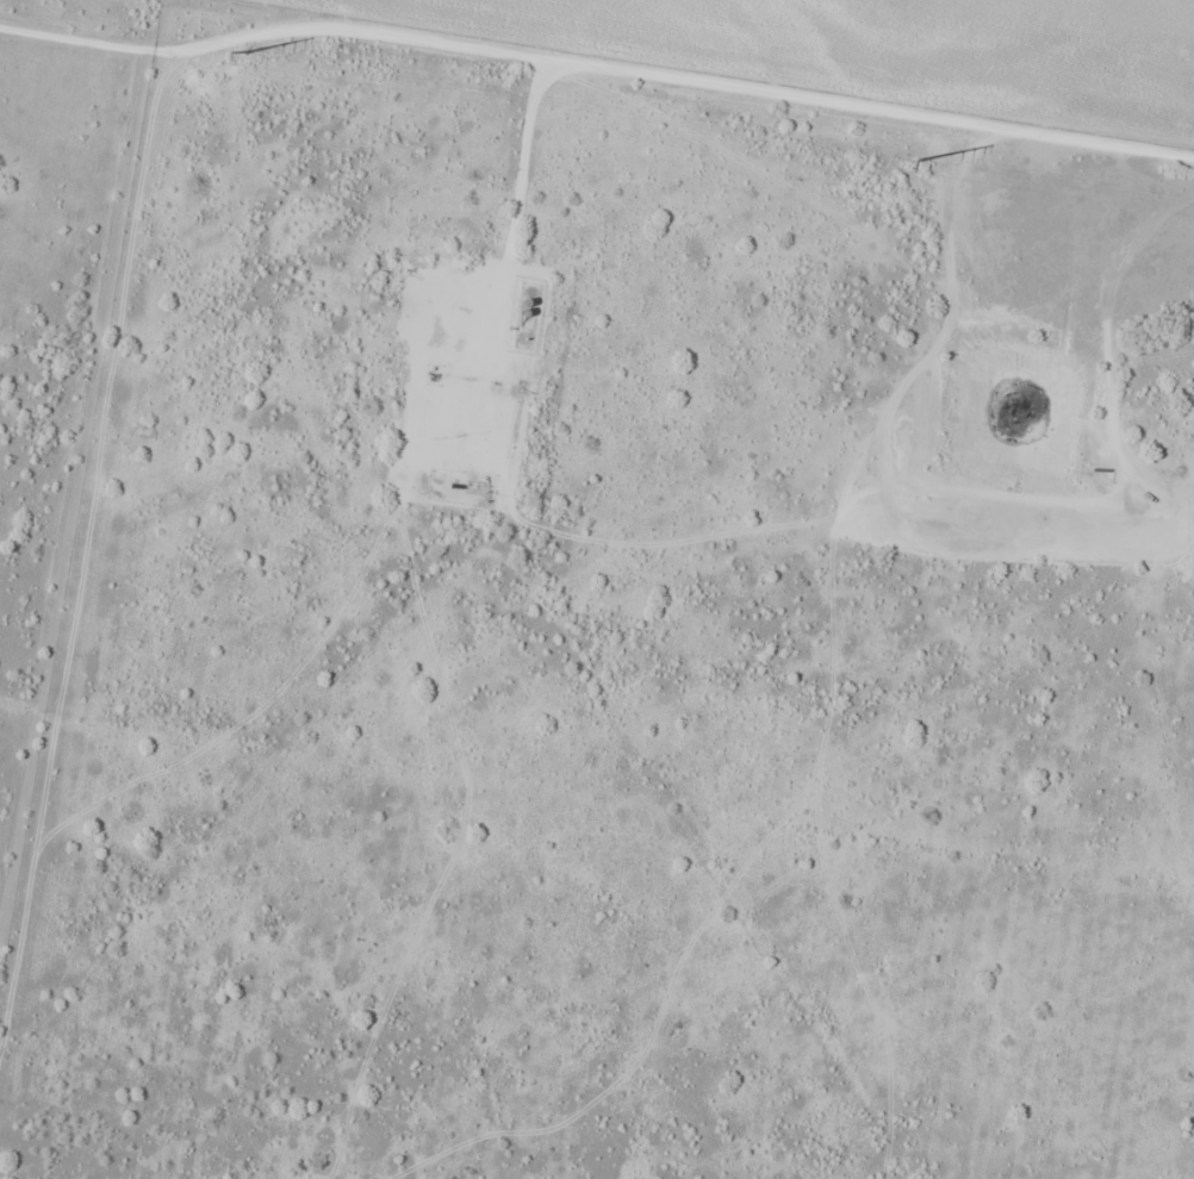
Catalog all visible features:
power tower: (251, 60)
road: (474, 64)
power tower: (935, 166)

